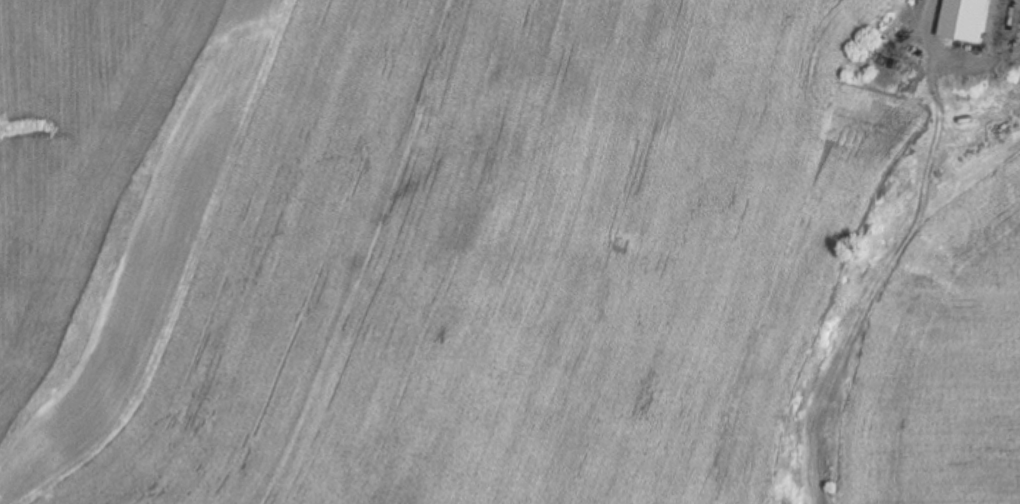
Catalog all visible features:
building: (964, 21)

